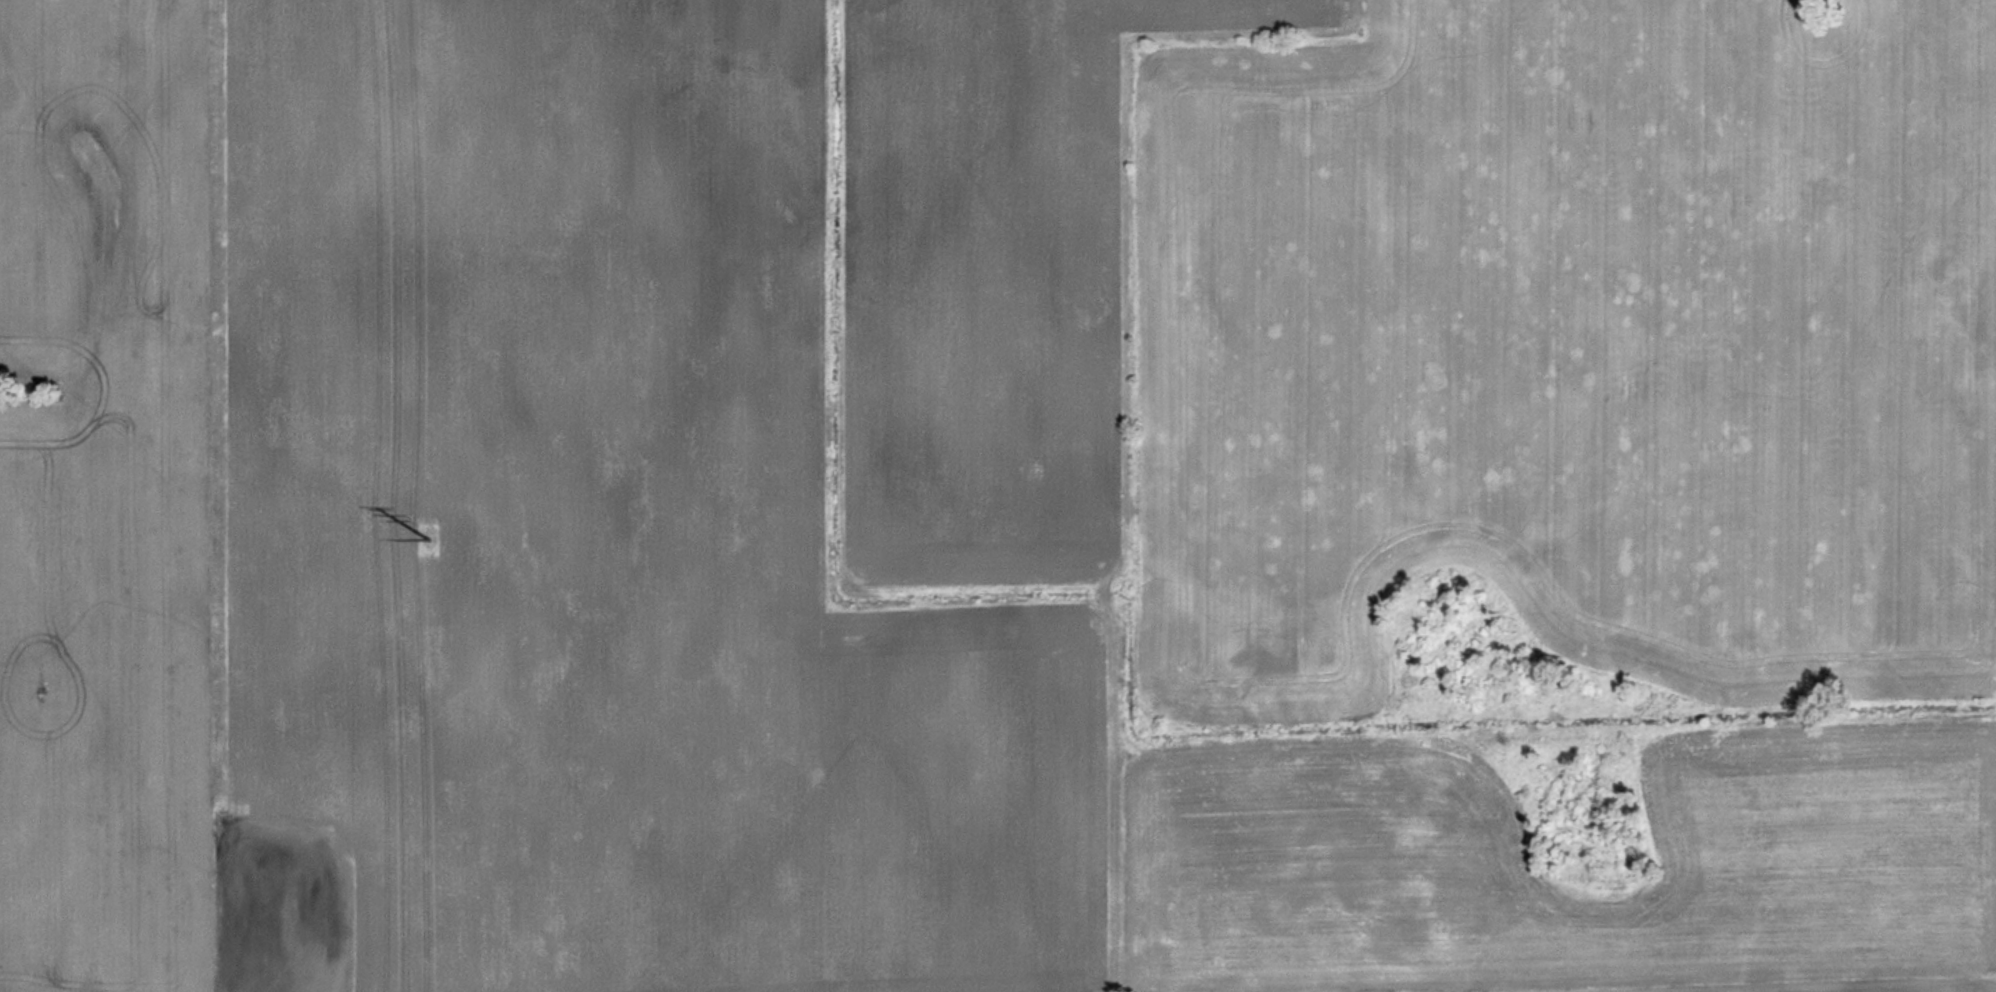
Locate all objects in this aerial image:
power tower: (425, 530)

